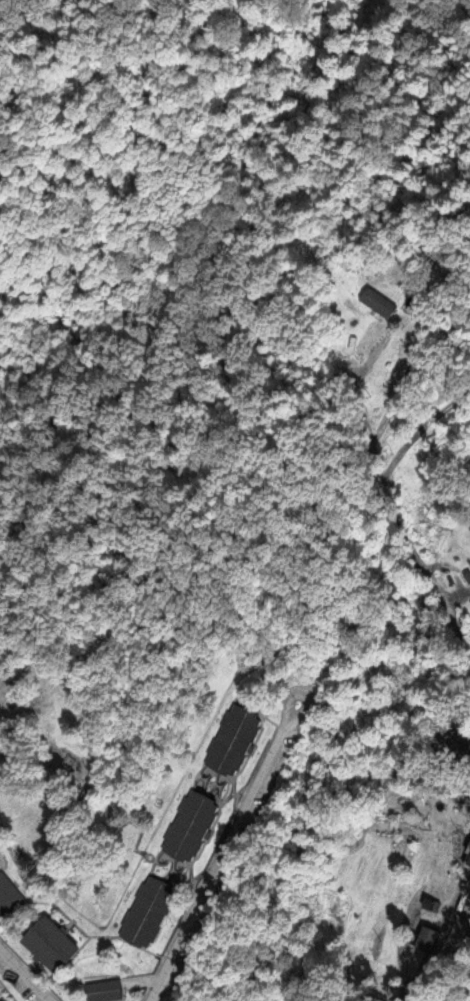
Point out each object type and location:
building: (379, 300)
road: (402, 532)
building: (468, 577)
building: (239, 743)
building: (197, 828)
building: (0, 852)
road: (225, 853)
building: (469, 861)
building: (10, 898)
building: (432, 903)
building: (151, 915)
building: (426, 938)
building: (55, 947)
road: (437, 962)
road: (22, 978)
building: (107, 990)

